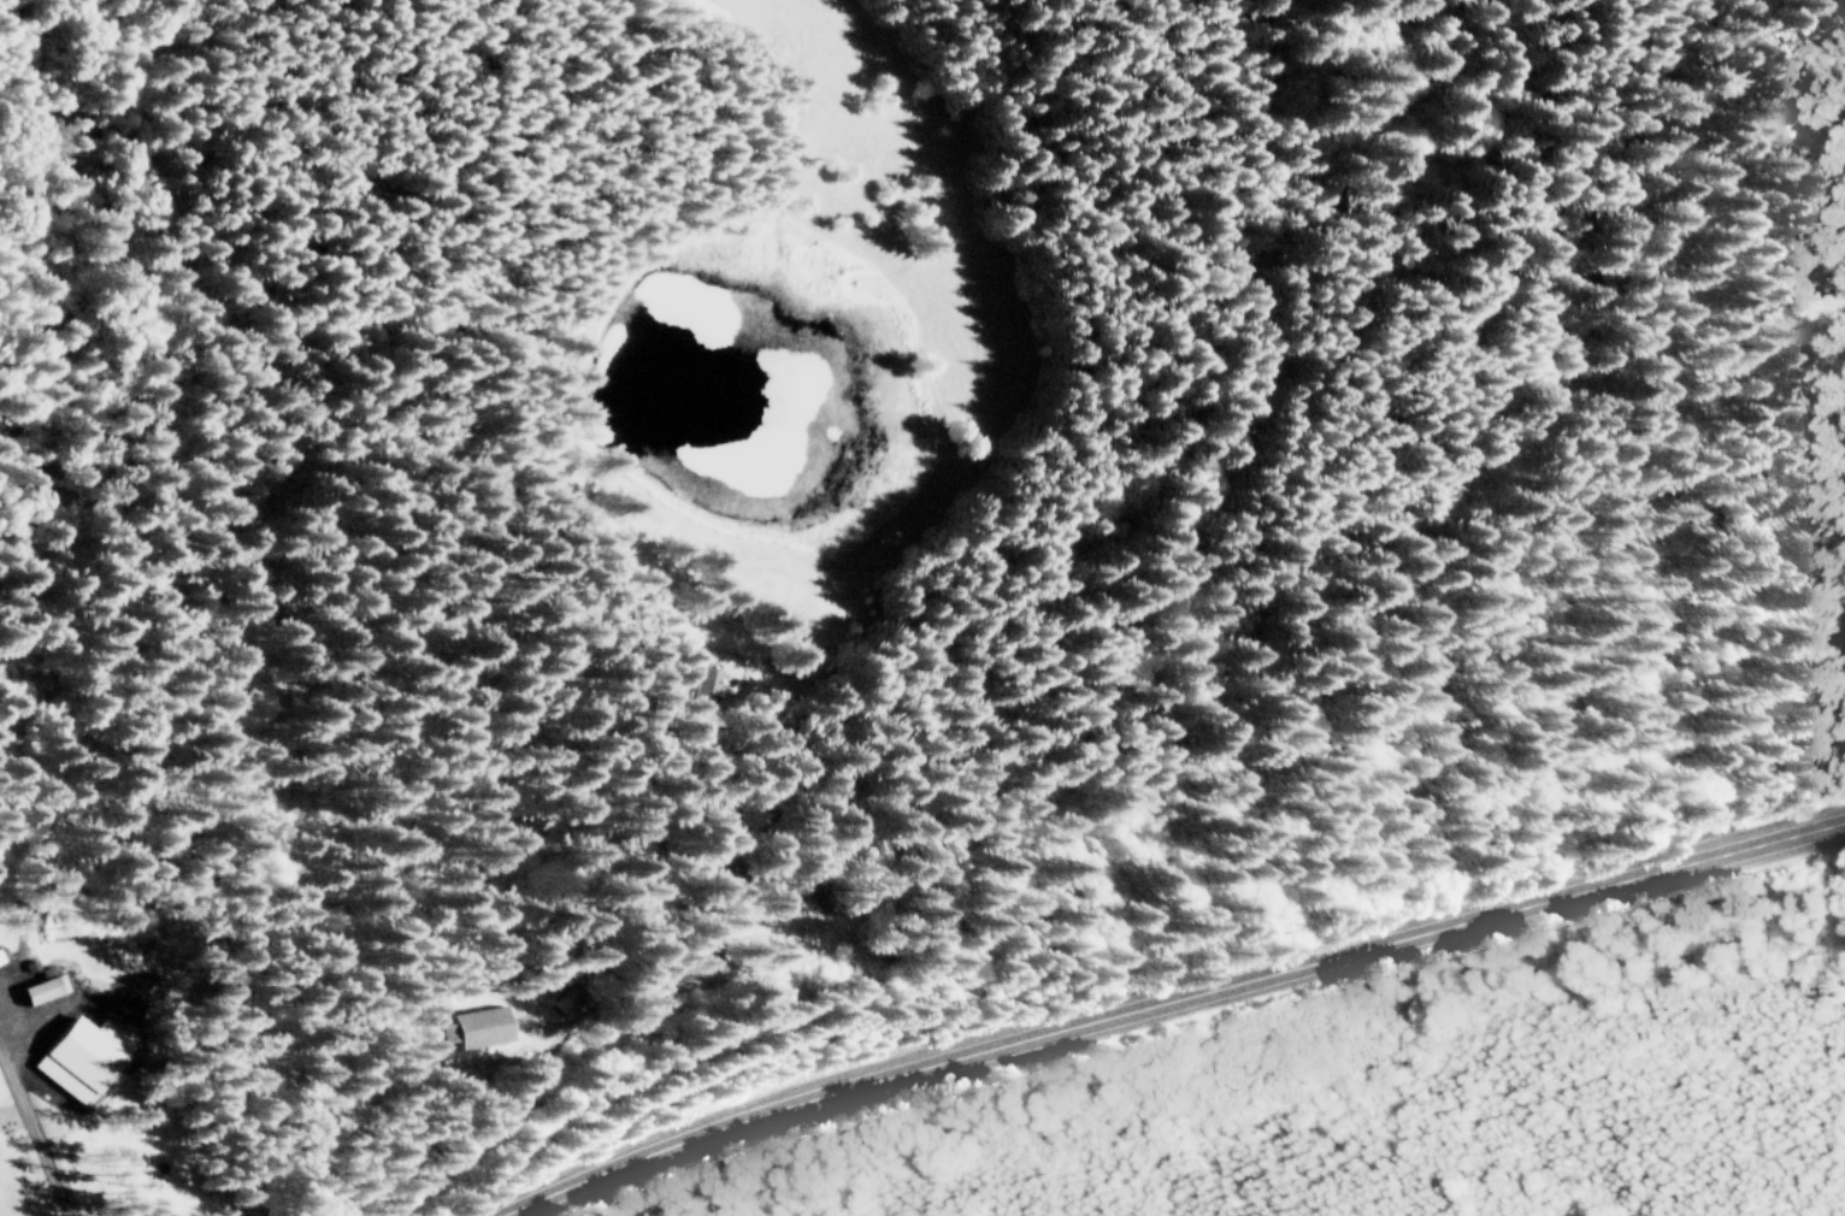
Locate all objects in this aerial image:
building: (37, 987)
road: (1153, 996)
building: (461, 1026)
building: (76, 1055)
crop: (1362, 1079)
road: (30, 1127)

